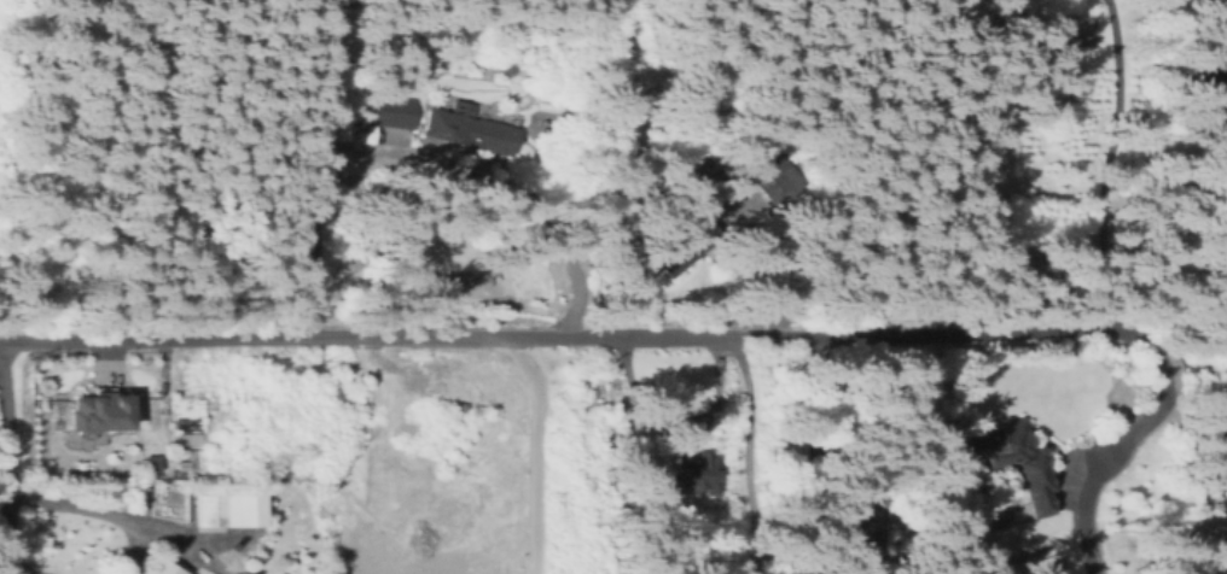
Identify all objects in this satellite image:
building: (1213, 86)
building: (394, 111)
building: (355, 125)
building: (466, 129)
road: (1112, 164)
road: (306, 170)
building: (769, 175)
road: (496, 186)
building: (681, 242)
road: (569, 339)
road: (1184, 350)
building: (455, 367)
building: (420, 391)
building: (457, 408)
building: (100, 410)
road: (826, 416)
road: (1118, 447)
road: (535, 451)
road: (748, 455)
road: (6, 458)
building: (1013, 462)
building: (694, 471)
building: (176, 474)
building: (227, 508)
road: (97, 510)
building: (850, 531)
building: (1049, 568)
building: (161, 569)
road: (17, 570)

